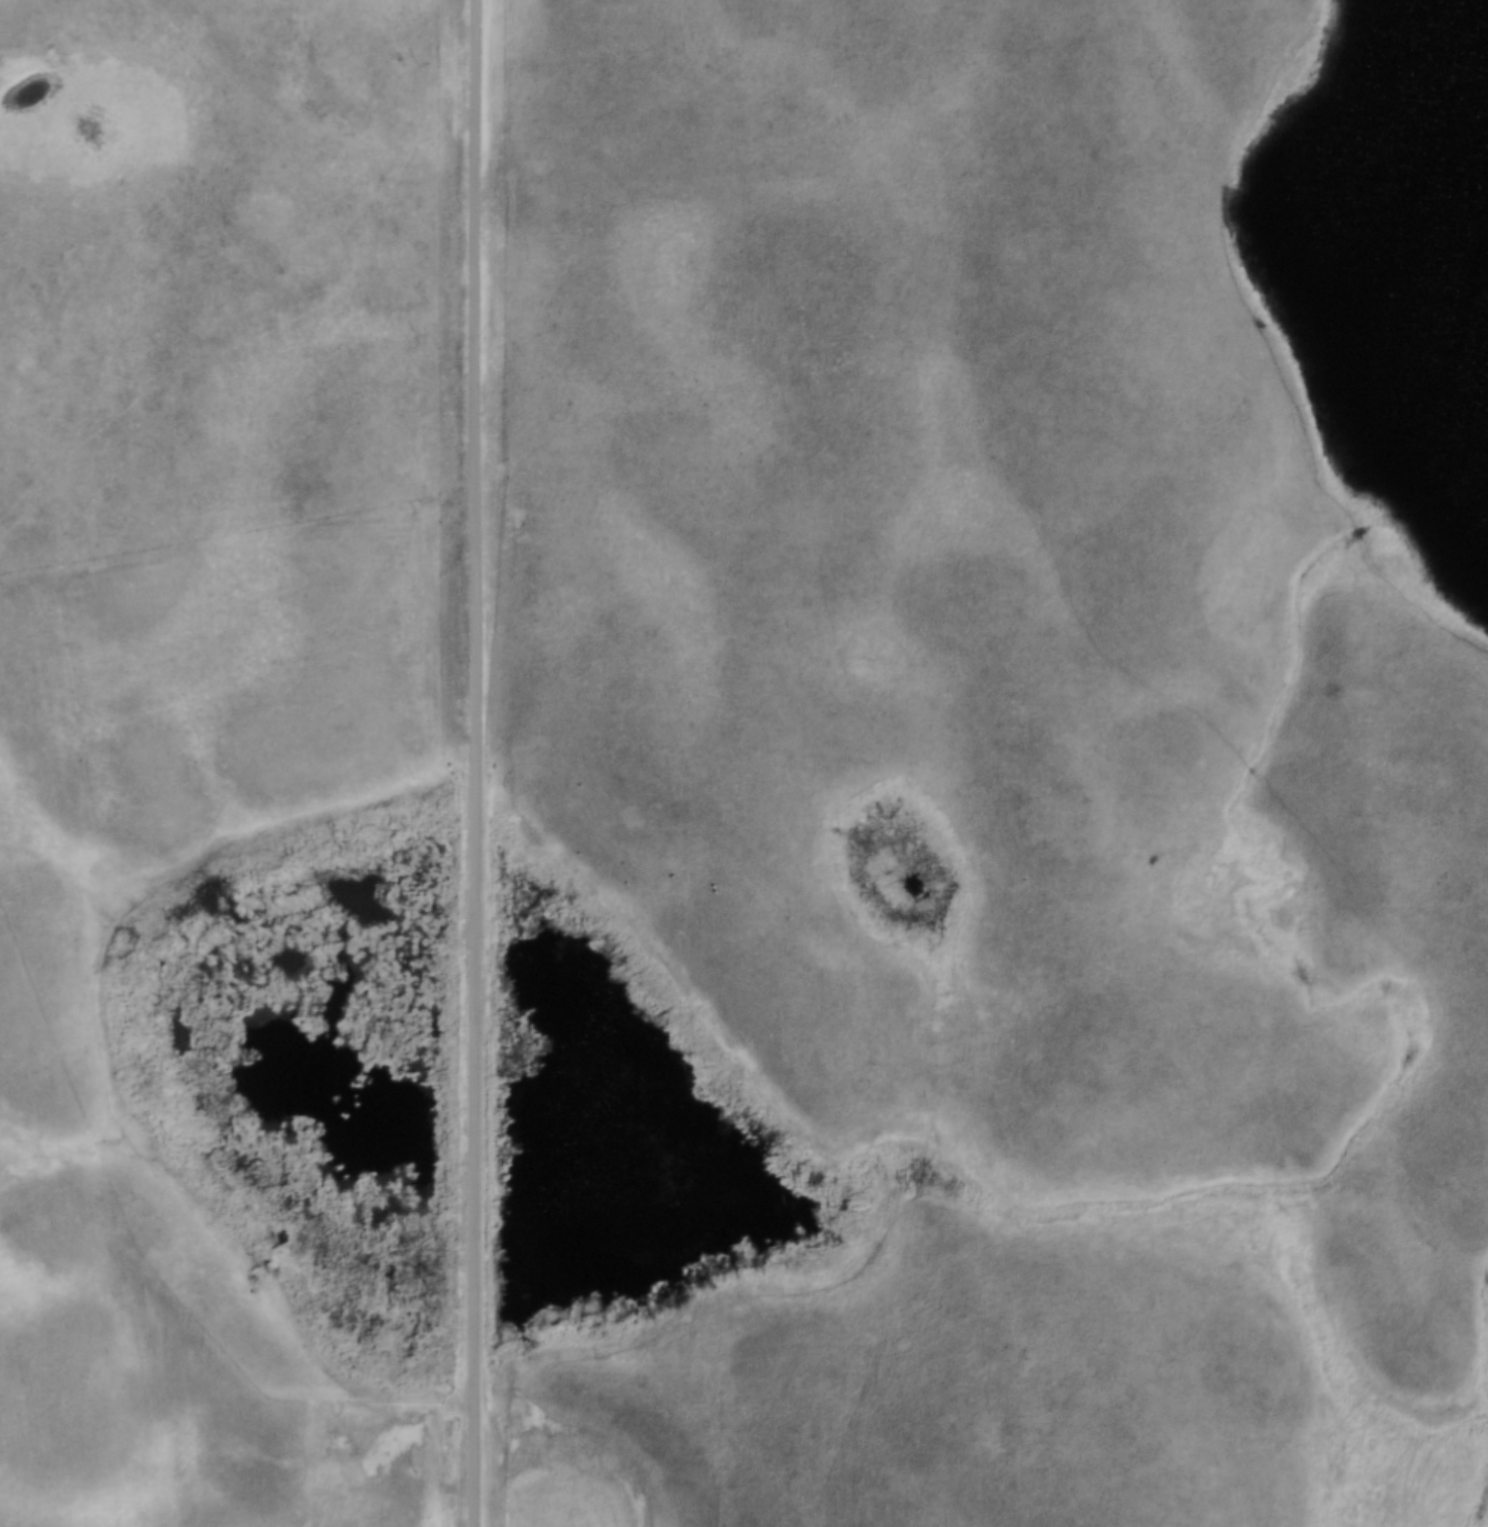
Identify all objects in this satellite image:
road: (470, 763)

